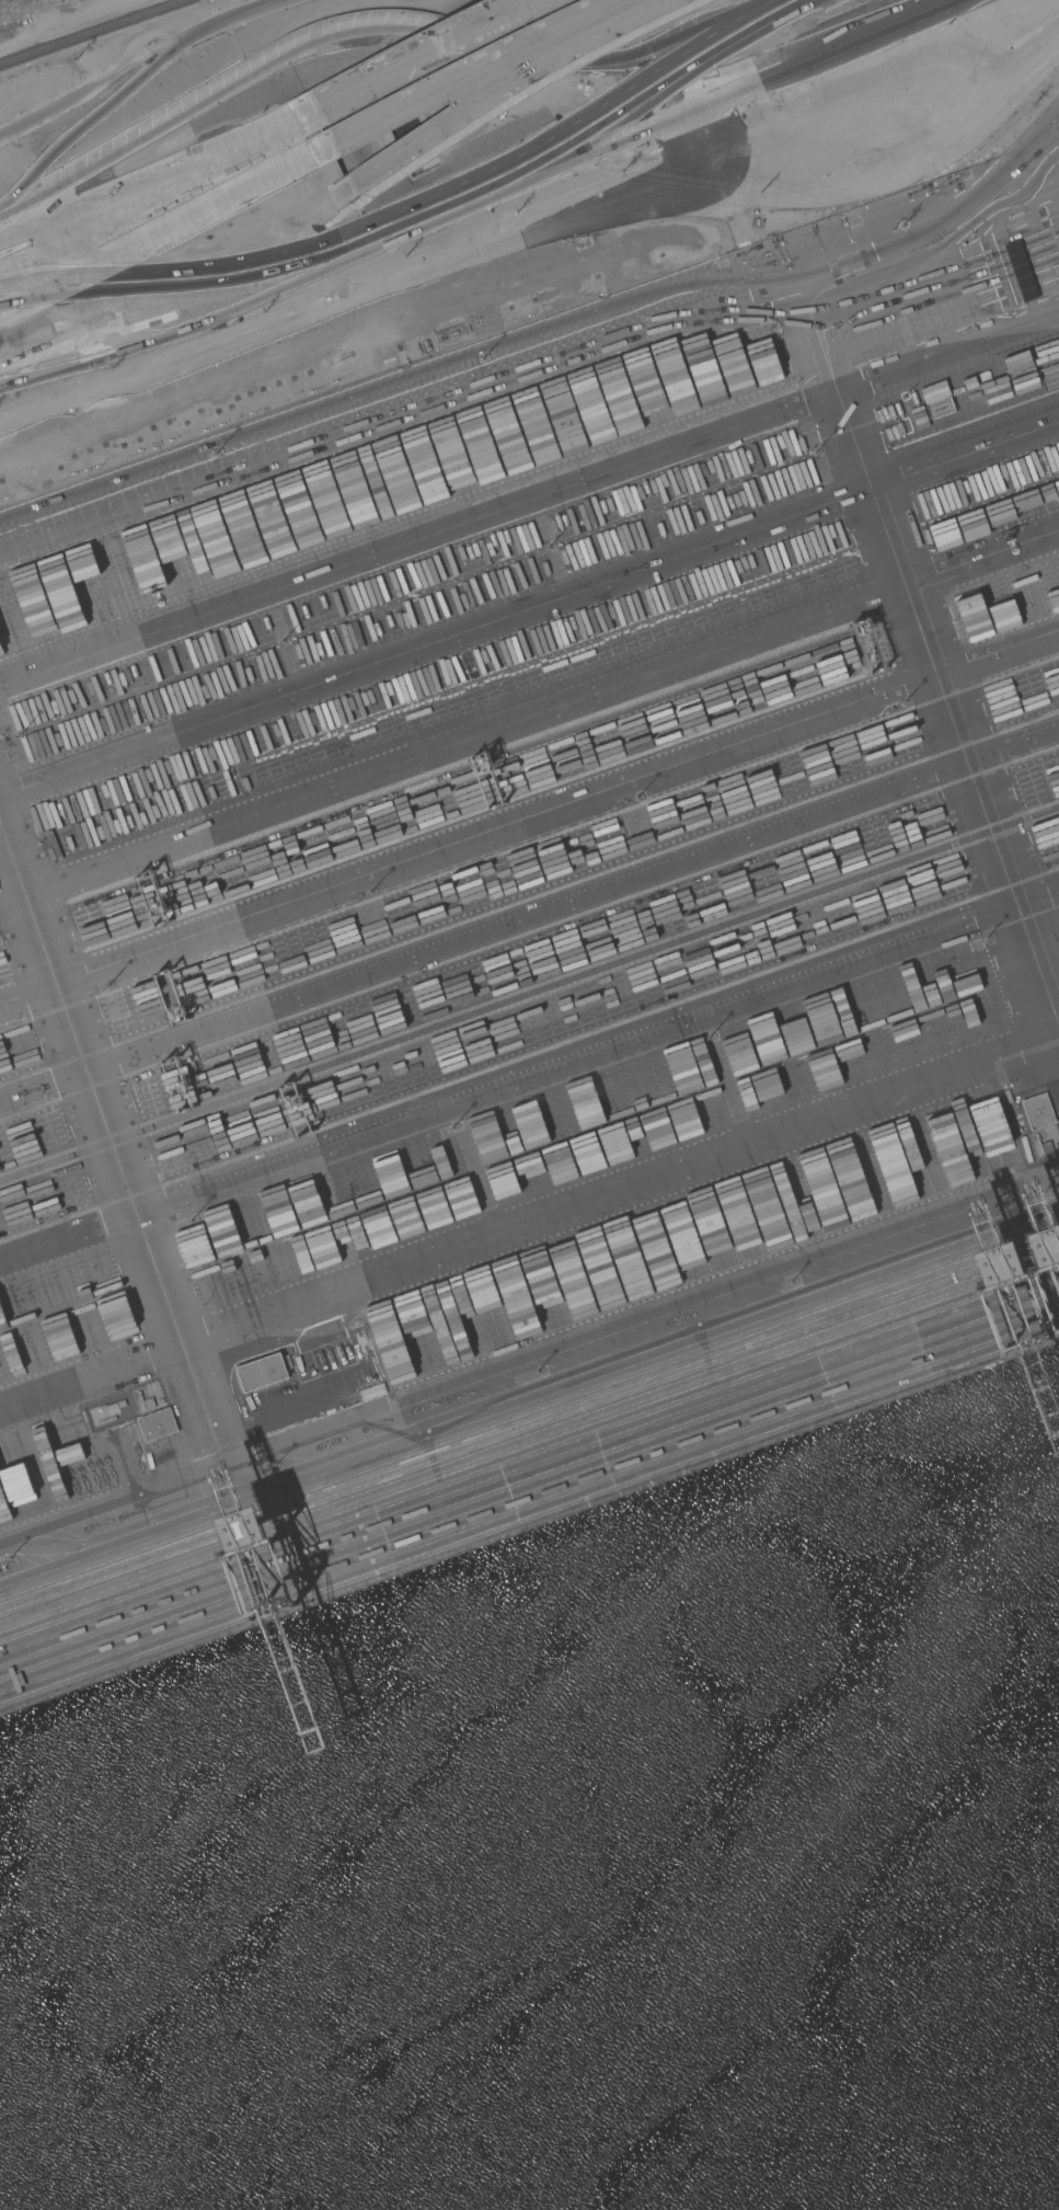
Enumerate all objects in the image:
railway: (92, 32)
road: (440, 32)
road: (421, 54)
road: (475, 68)
road: (498, 89)
road: (156, 169)
road: (157, 194)
road: (479, 203)
road: (165, 231)
road: (183, 300)
road: (330, 327)
road: (545, 371)
road: (529, 501)
road: (529, 609)
road: (925, 648)
road: (529, 720)
road: (529, 826)
road: (529, 915)
road: (529, 1077)
building: (1038, 1111)
road: (116, 1152)
road: (529, 1229)
road: (529, 1372)
building: (262, 1373)
building: (157, 1424)

